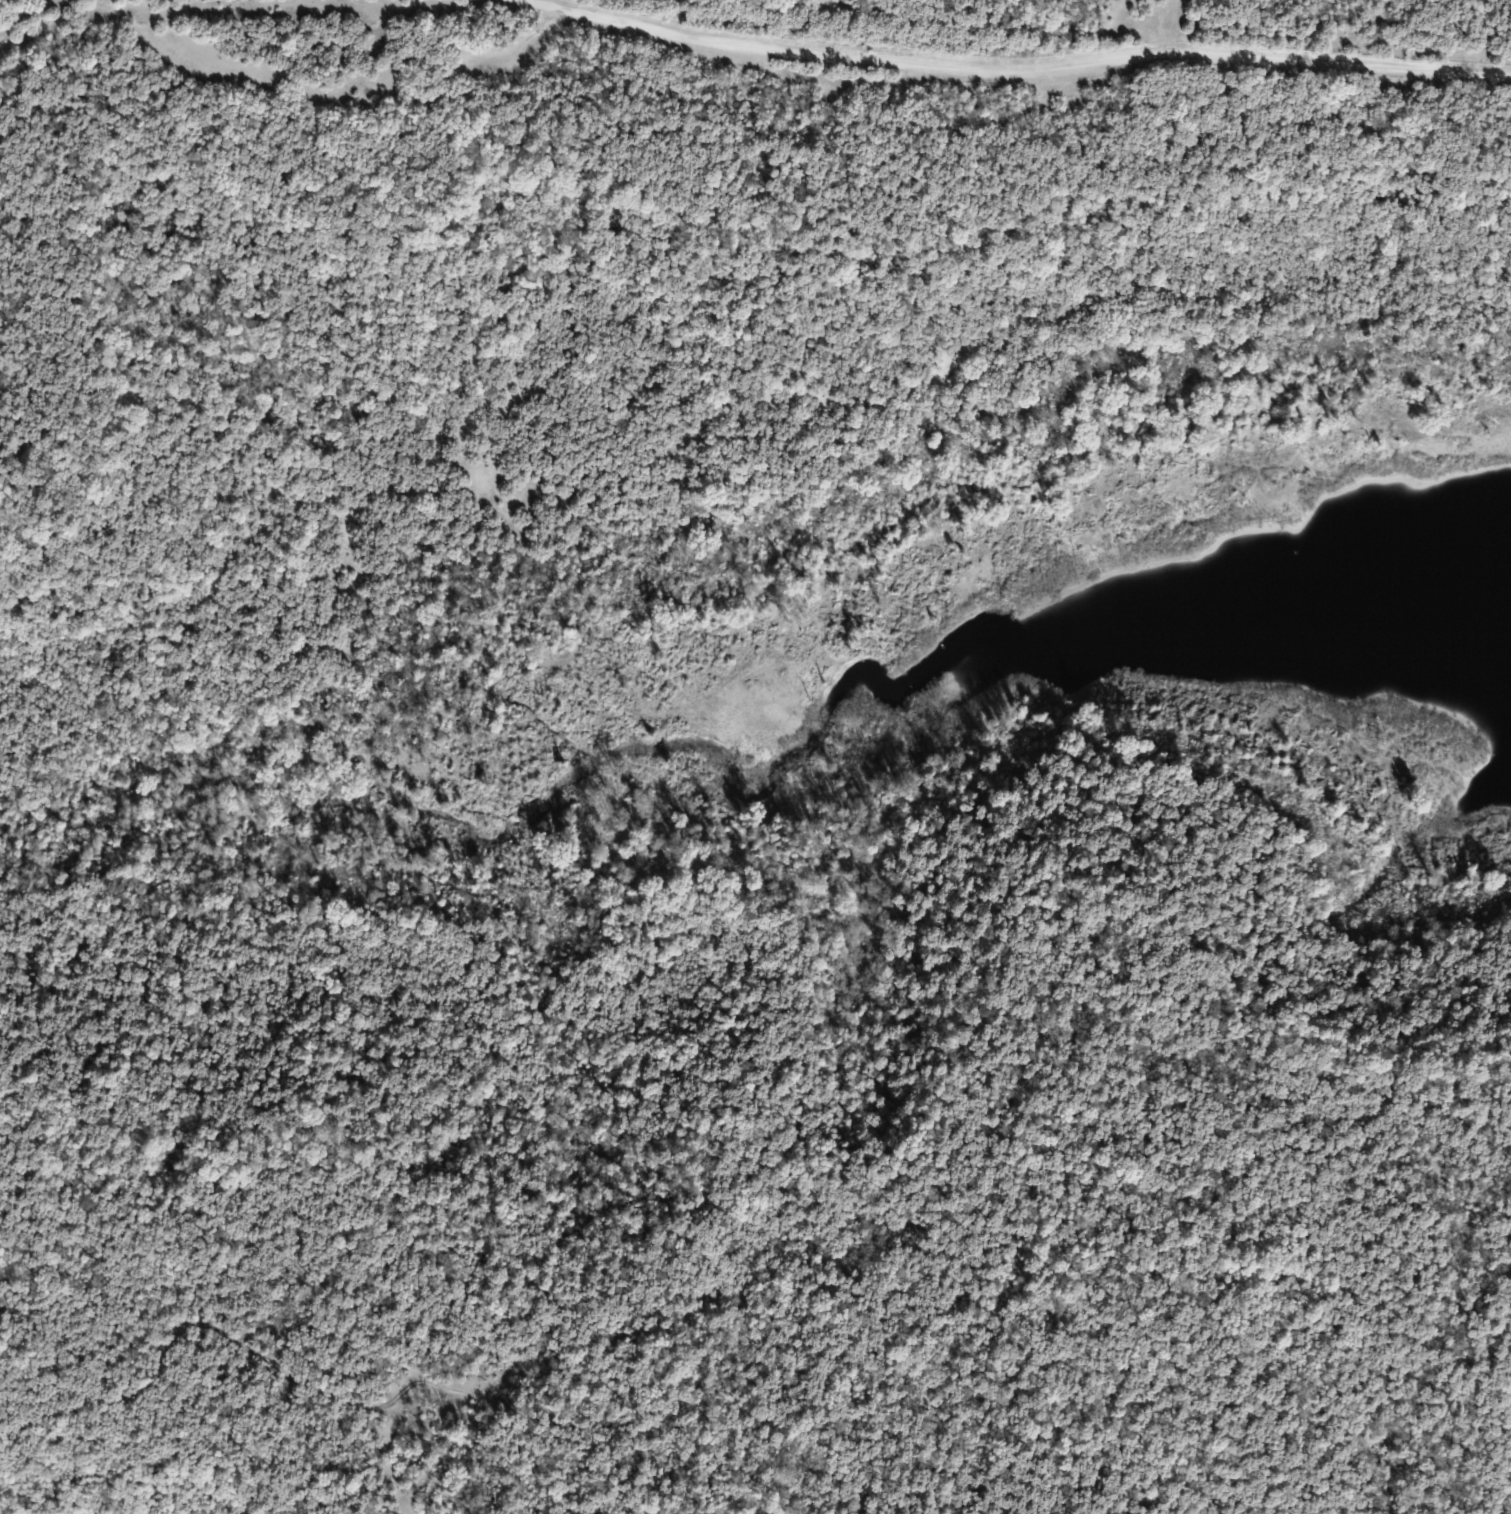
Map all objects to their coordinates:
road: (1018, 61)

